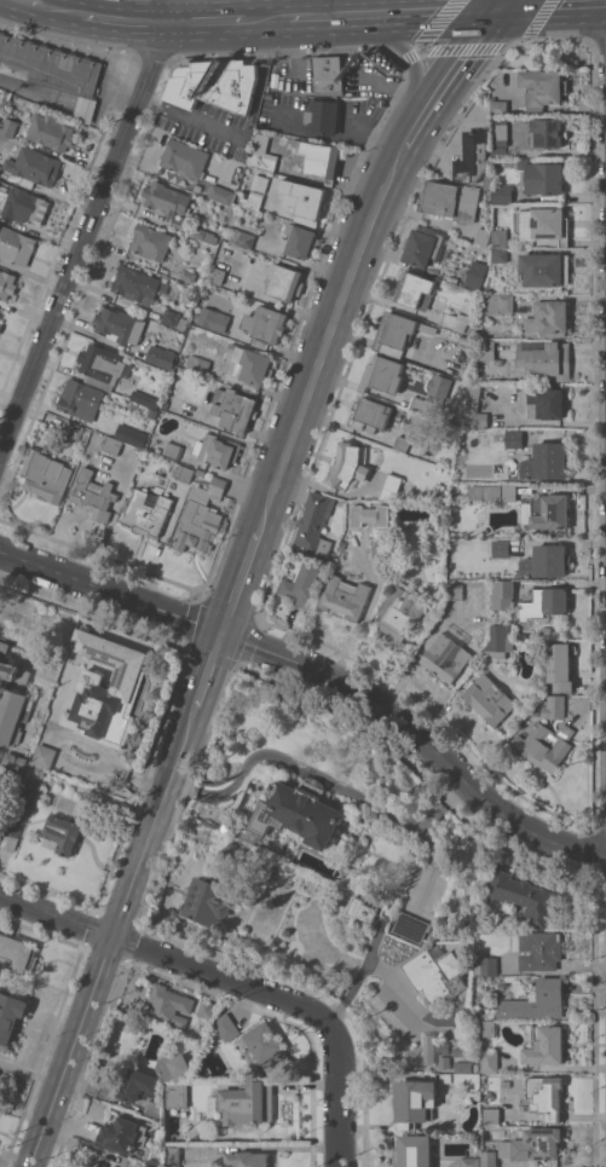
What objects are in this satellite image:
road: (28, 2)
road: (498, 4)
road: (550, 5)
traffic signals: (496, 8)
road: (57, 10)
road: (392, 13)
road: (267, 19)
road: (122, 21)
road: (208, 22)
road: (410, 57)
building: (51, 69)
building: (328, 74)
road: (448, 76)
building: (214, 83)
building: (543, 88)
building: (0, 104)
building: (500, 106)
building: (323, 115)
building: (8, 126)
building: (52, 129)
building: (500, 131)
building: (548, 133)
road: (244, 134)
building: (498, 151)
building: (296, 157)
building: (472, 157)
building: (185, 158)
building: (34, 166)
building: (0, 167)
building: (543, 177)
building: (0, 180)
building: (487, 180)
building: (221, 193)
building: (502, 193)
building: (305, 198)
building: (166, 200)
building: (252, 201)
building: (451, 201)
building: (25, 206)
road: (88, 223)
building: (543, 225)
building: (203, 235)
building: (483, 236)
building: (242, 238)
building: (500, 238)
building: (300, 241)
building: (151, 242)
building: (16, 245)
building: (423, 245)
building: (498, 255)
building: (546, 270)
building: (217, 275)
building: (477, 275)
building: (187, 276)
building: (284, 283)
building: (6, 284)
building: (135, 284)
building: (415, 290)
building: (500, 304)
building: (0, 316)
building: (549, 318)
building: (174, 319)
building: (214, 319)
building: (455, 322)
building: (266, 324)
building: (120, 325)
building: (0, 327)
road: (328, 330)
building: (394, 333)
building: (464, 340)
building: (486, 349)
building: (161, 357)
building: (543, 359)
building: (100, 363)
building: (197, 364)
building: (250, 366)
building: (382, 375)
building: (439, 386)
building: (145, 398)
building: (80, 399)
building: (544, 400)
building: (425, 406)
building: (474, 406)
building: (233, 409)
building: (370, 414)
building: (74, 429)
building: (132, 437)
building: (514, 439)
building: (402, 444)
building: (112, 445)
building: (173, 450)
building: (218, 450)
building: (547, 462)
building: (348, 466)
building: (181, 472)
building: (200, 472)
building: (46, 475)
building: (391, 485)
building: (439, 489)
building: (492, 493)
building: (94, 495)
building: (148, 512)
building: (439, 513)
building: (548, 513)
building: (201, 518)
building: (314, 524)
building: (437, 542)
building: (501, 548)
building: (381, 553)
building: (344, 554)
building: (547, 561)
building: (340, 564)
road: (239, 574)
building: (302, 584)
building: (506, 589)
building: (455, 591)
building: (345, 597)
building: (550, 601)
building: (399, 614)
traffic signals: (220, 631)
building: (498, 641)
building: (446, 657)
building: (560, 666)
road: (319, 675)
road: (204, 676)
building: (125, 688)
building: (12, 699)
building: (489, 699)
building: (554, 706)
building: (544, 745)
building: (44, 755)
building: (12, 773)
road: (329, 780)
building: (25, 796)
road: (439, 804)
building: (299, 813)
building: (12, 831)
building: (63, 833)
building: (525, 896)
building: (210, 900)
building: (360, 909)
building: (411, 926)
building: (244, 929)
road: (108, 943)
building: (537, 949)
building: (17, 952)
road: (173, 959)
building: (486, 965)
road: (360, 974)
building: (435, 975)
building: (537, 1001)
building: (169, 1005)
building: (207, 1009)
building: (11, 1018)
building: (226, 1027)
building: (487, 1028)
building: (546, 1045)
building: (427, 1047)
building: (266, 1048)
building: (467, 1052)
building: (444, 1059)
building: (489, 1061)
building: (172, 1067)
building: (463, 1067)
building: (477, 1068)
building: (468, 1080)
building: (138, 1085)
building: (177, 1094)
building: (544, 1097)
road: (339, 1102)
building: (415, 1102)
building: (247, 1103)
building: (152, 1109)
building: (491, 1115)
building: (123, 1133)
building: (533, 1145)
building: (414, 1151)
building: (172, 1155)
building: (241, 1156)
building: (489, 1159)
building: (154, 1162)
building: (466, 1162)
building: (149, 1166)

